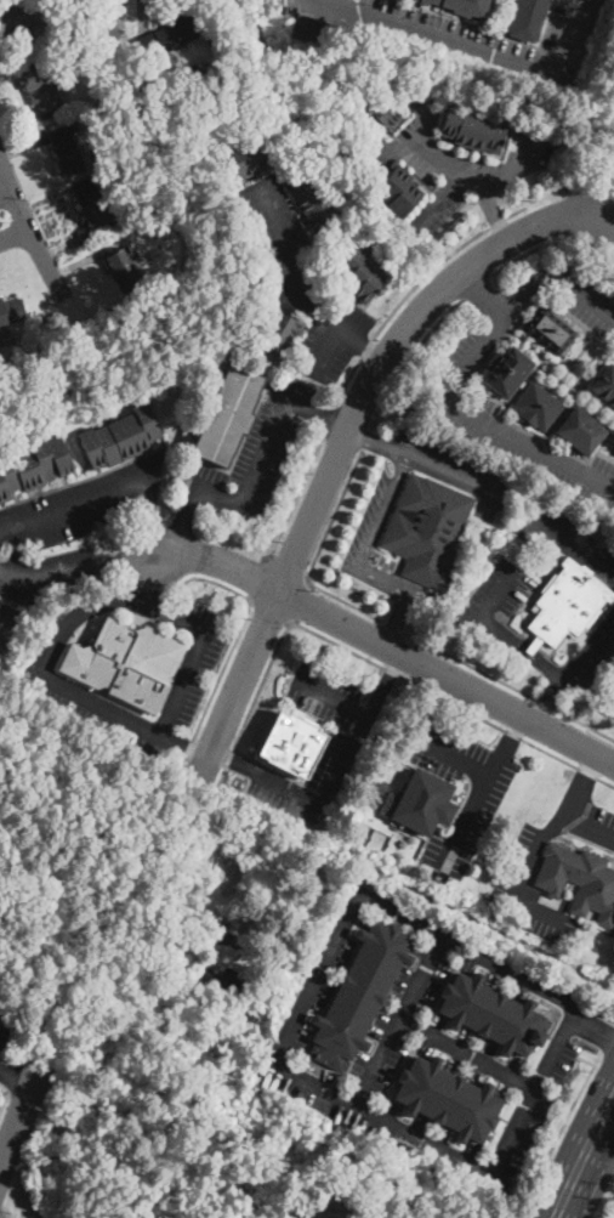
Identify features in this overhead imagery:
building: (462, 6)
building: (529, 18)
building: (19, 21)
building: (93, 23)
building: (313, 28)
building: (51, 30)
building: (167, 35)
parking lot: (483, 36)
road: (467, 47)
building: (203, 70)
building: (40, 89)
building: (371, 113)
building: (472, 129)
road: (410, 140)
building: (132, 146)
building: (67, 148)
building: (246, 157)
road: (447, 159)
parking lot: (460, 159)
parking lot: (612, 164)
road: (473, 174)
building: (314, 191)
building: (398, 191)
road: (5, 192)
building: (95, 208)
road: (606, 208)
road: (491, 214)
road: (606, 222)
road: (29, 232)
road: (13, 236)
parking lot: (612, 254)
road: (519, 255)
building: (124, 268)
road: (301, 271)
building: (359, 272)
parking lot: (303, 279)
road: (474, 285)
road: (413, 288)
road: (481, 291)
parking lot: (576, 296)
building: (11, 310)
building: (550, 329)
building: (278, 330)
building: (7, 339)
road: (326, 346)
road: (376, 353)
road: (407, 357)
road: (464, 368)
building: (507, 372)
building: (13, 375)
building: (606, 385)
building: (538, 406)
building: (228, 415)
road: (328, 417)
road: (330, 418)
parking lot: (501, 419)
building: (580, 431)
building: (120, 437)
road: (365, 438)
road: (369, 438)
building: (613, 440)
building: (612, 444)
road: (339, 448)
road: (256, 453)
parking lot: (257, 453)
building: (33, 466)
road: (444, 470)
road: (295, 497)
parking lot: (377, 504)
parking lot: (86, 505)
road: (75, 508)
road: (382, 511)
road: (148, 519)
road: (184, 520)
building: (427, 529)
parking lot: (565, 540)
road: (578, 550)
road: (314, 553)
road: (132, 557)
road: (285, 568)
road: (68, 572)
parking lot: (55, 573)
road: (12, 576)
road: (255, 577)
road: (147, 579)
road: (383, 580)
parking lot: (496, 594)
road: (104, 602)
road: (300, 602)
building: (567, 605)
road: (268, 611)
road: (397, 619)
building: (6, 623)
road: (241, 623)
road: (394, 627)
road: (498, 631)
road: (387, 646)
road: (589, 648)
road: (373, 662)
building: (126, 663)
parking lot: (589, 663)
parking lot: (40, 676)
road: (510, 685)
parking lot: (328, 690)
road: (380, 696)
road: (336, 697)
road: (551, 702)
road: (150, 729)
road: (512, 733)
road: (182, 743)
road: (188, 743)
building: (292, 744)
road: (456, 750)
road: (232, 759)
parking lot: (307, 783)
building: (380, 786)
road: (581, 786)
parking lot: (482, 791)
building: (371, 800)
road: (324, 803)
building: (421, 803)
road: (476, 805)
road: (402, 856)
road: (529, 857)
parking lot: (518, 866)
building: (579, 880)
road: (399, 882)
building: (180, 916)
building: (210, 929)
building: (153, 962)
parking lot: (325, 970)
parking lot: (512, 976)
building: (223, 981)
building: (359, 995)
building: (493, 1014)
road: (398, 1020)
parking lot: (400, 1020)
road: (592, 1027)
parking lot: (2, 1036)
road: (608, 1038)
road: (467, 1054)
parking lot: (473, 1055)
road: (275, 1059)
road: (585, 1059)
road: (16, 1076)
road: (5, 1097)
building: (448, 1099)
parking lot: (535, 1100)
road: (21, 1111)
parking lot: (382, 1127)
road: (557, 1132)
road: (602, 1143)
road: (584, 1156)
road: (607, 1202)
parking lot: (613, 1217)

